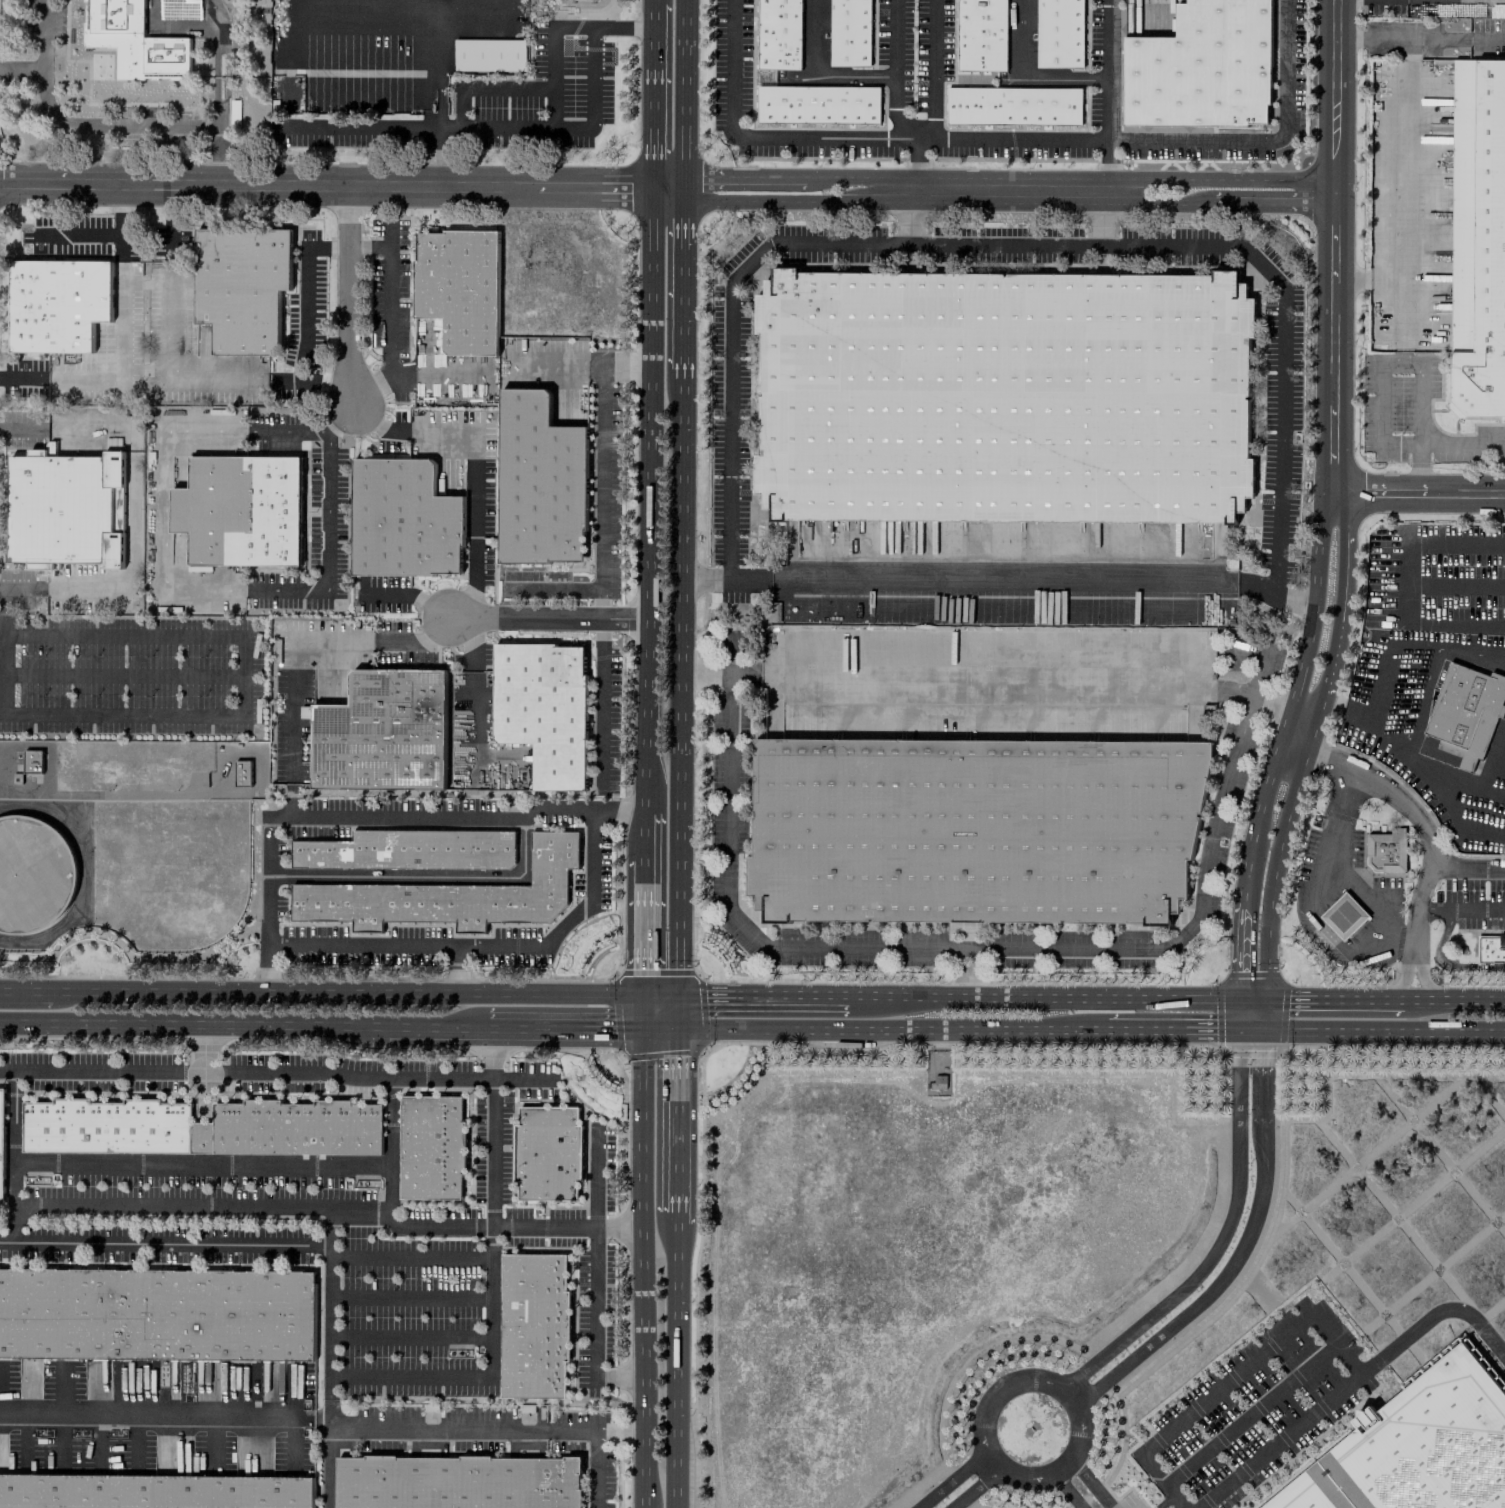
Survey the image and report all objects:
road: (655, 7)
road: (476, 8)
road: (436, 20)
road: (182, 27)
building: (849, 32)
building: (1059, 33)
building: (779, 34)
road: (43, 35)
building: (980, 35)
road: (1435, 37)
road: (1350, 38)
building: (134, 41)
building: (489, 54)
building: (1202, 67)
road: (933, 69)
road: (894, 70)
road: (1107, 70)
road: (815, 77)
road: (1025, 77)
road: (551, 83)
road: (684, 94)
road: (591, 95)
road: (654, 100)
building: (818, 104)
building: (1012, 106)
road: (118, 124)
road: (359, 126)
road: (765, 137)
road: (1020, 139)
road: (1263, 140)
road: (1401, 157)
road: (916, 164)
road: (1108, 165)
road: (666, 188)
road: (907, 217)
road: (1097, 218)
road: (77, 235)
building: (1477, 239)
road: (859, 243)
road: (682, 277)
building: (241, 287)
building: (459, 287)
road: (1400, 287)
road: (348, 294)
building: (58, 304)
road: (389, 317)
road: (303, 321)
road: (627, 362)
road: (1381, 364)
road: (144, 370)
road: (232, 374)
road: (62, 378)
building: (1003, 396)
road: (368, 417)
road: (289, 433)
road: (475, 437)
road: (1282, 441)
road: (1462, 446)
road: (1418, 469)
building: (540, 481)
road: (651, 492)
road: (1419, 492)
road: (1333, 504)
road: (130, 507)
building: (64, 509)
building: (240, 509)
road: (161, 511)
building: (403, 519)
road: (601, 524)
road: (327, 529)
road: (474, 562)
road: (699, 578)
road: (744, 579)
road: (1003, 581)
road: (1406, 585)
road: (1259, 589)
road: (387, 595)
road: (460, 602)
road: (600, 602)
road: (1304, 604)
road: (431, 606)
road: (548, 616)
road: (434, 629)
road: (459, 630)
road: (599, 630)
road: (1413, 643)
road: (1472, 653)
road: (473, 658)
road: (292, 662)
road: (704, 670)
road: (1256, 671)
road: (1379, 674)
road: (677, 682)
road: (1019, 683)
road: (1326, 697)
road: (1420, 700)
road: (1357, 705)
road: (1275, 706)
building: (543, 708)
building: (1465, 710)
building: (305, 711)
road: (599, 716)
building: (382, 732)
road: (472, 743)
building: (31, 761)
road: (1438, 766)
building: (241, 772)
road: (368, 815)
road: (1420, 820)
road: (647, 824)
building: (974, 829)
building: (408, 850)
building: (1387, 850)
road: (1330, 865)
road: (1467, 867)
road: (646, 871)
building: (33, 874)
storage tank: (33, 874)
road: (421, 877)
building: (448, 895)
road: (1460, 910)
building: (1344, 915)
road: (645, 943)
road: (485, 948)
road: (940, 948)
road: (967, 948)
building: (1492, 949)
road: (455, 973)
road: (1404, 982)
road: (1423, 982)
road: (25, 991)
road: (364, 996)
traffic signals: (645, 999)
traffic signals: (678, 999)
road: (704, 999)
road: (788, 999)
road: (1050, 999)
road: (1283, 999)
road: (1358, 999)
road: (1453, 1000)
road: (678, 1015)
road: (645, 1016)
road: (192, 1026)
road: (875, 1029)
road: (436, 1030)
road: (1146, 1030)
road: (1219, 1030)
road: (535, 1031)
road: (614, 1032)
traffic signals: (678, 1032)
road: (1379, 1032)
traffic signals: (645, 1033)
road: (490, 1043)
road: (204, 1049)
road: (276, 1071)
road: (390, 1121)
road: (677, 1122)
building: (200, 1128)
road: (15, 1137)
building: (1, 1145)
building: (431, 1146)
building: (548, 1153)
road: (224, 1164)
road: (596, 1176)
road: (676, 1218)
road: (485, 1226)
road: (620, 1226)
road: (1235, 1232)
road: (7, 1241)
road: (97, 1242)
road: (410, 1257)
road: (644, 1270)
road: (410, 1296)
road: (595, 1305)
road: (490, 1307)
building: (156, 1314)
road: (1433, 1314)
building: (533, 1325)
road: (410, 1337)
road: (674, 1366)
road: (619, 1375)
road: (1227, 1379)
road: (1070, 1399)
road: (1248, 1414)
road: (164, 1415)
road: (503, 1428)
road: (620, 1431)
road: (1279, 1440)
building: (1417, 1448)
building: (456, 1482)
road: (1091, 1483)
road: (964, 1484)
road: (1067, 1490)
building: (153, 1491)
road: (1162, 1501)
road: (1178, 1507)
road: (1180, 1507)

